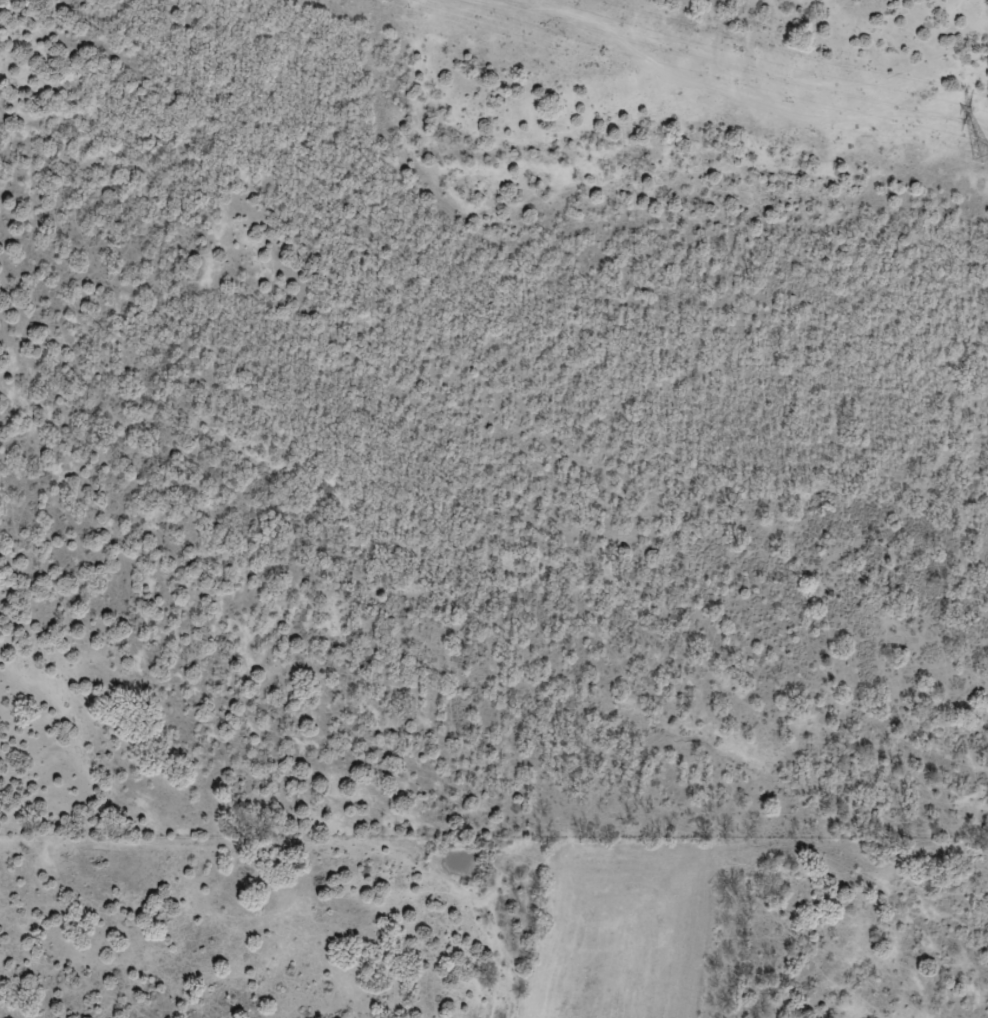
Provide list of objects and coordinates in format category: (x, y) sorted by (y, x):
power tower: (978, 151)

